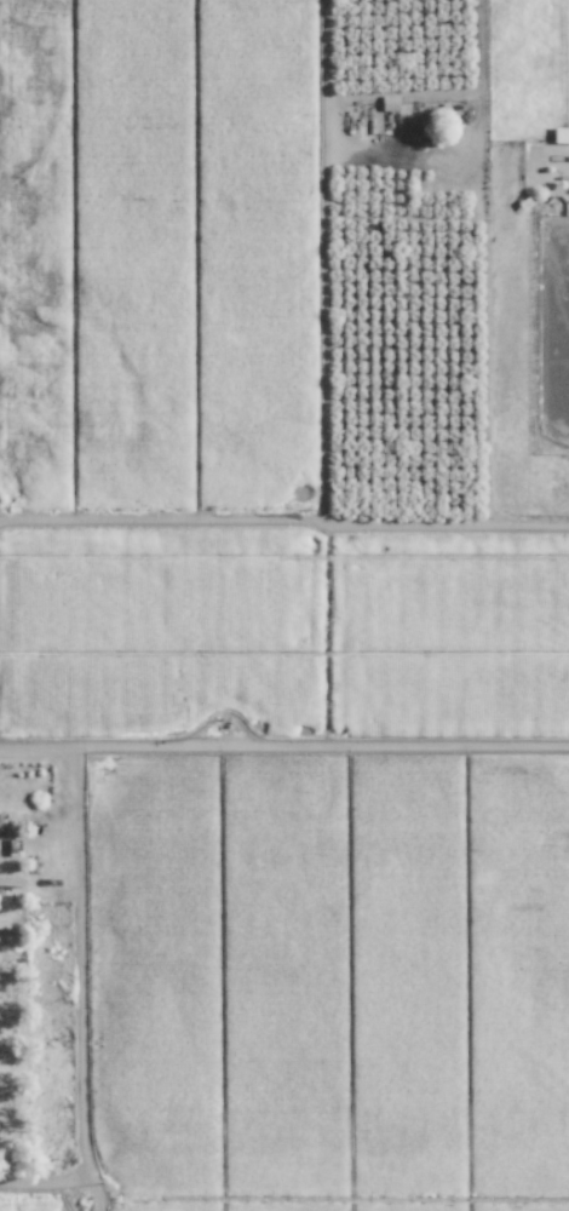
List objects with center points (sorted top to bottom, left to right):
road: (27, 747)

